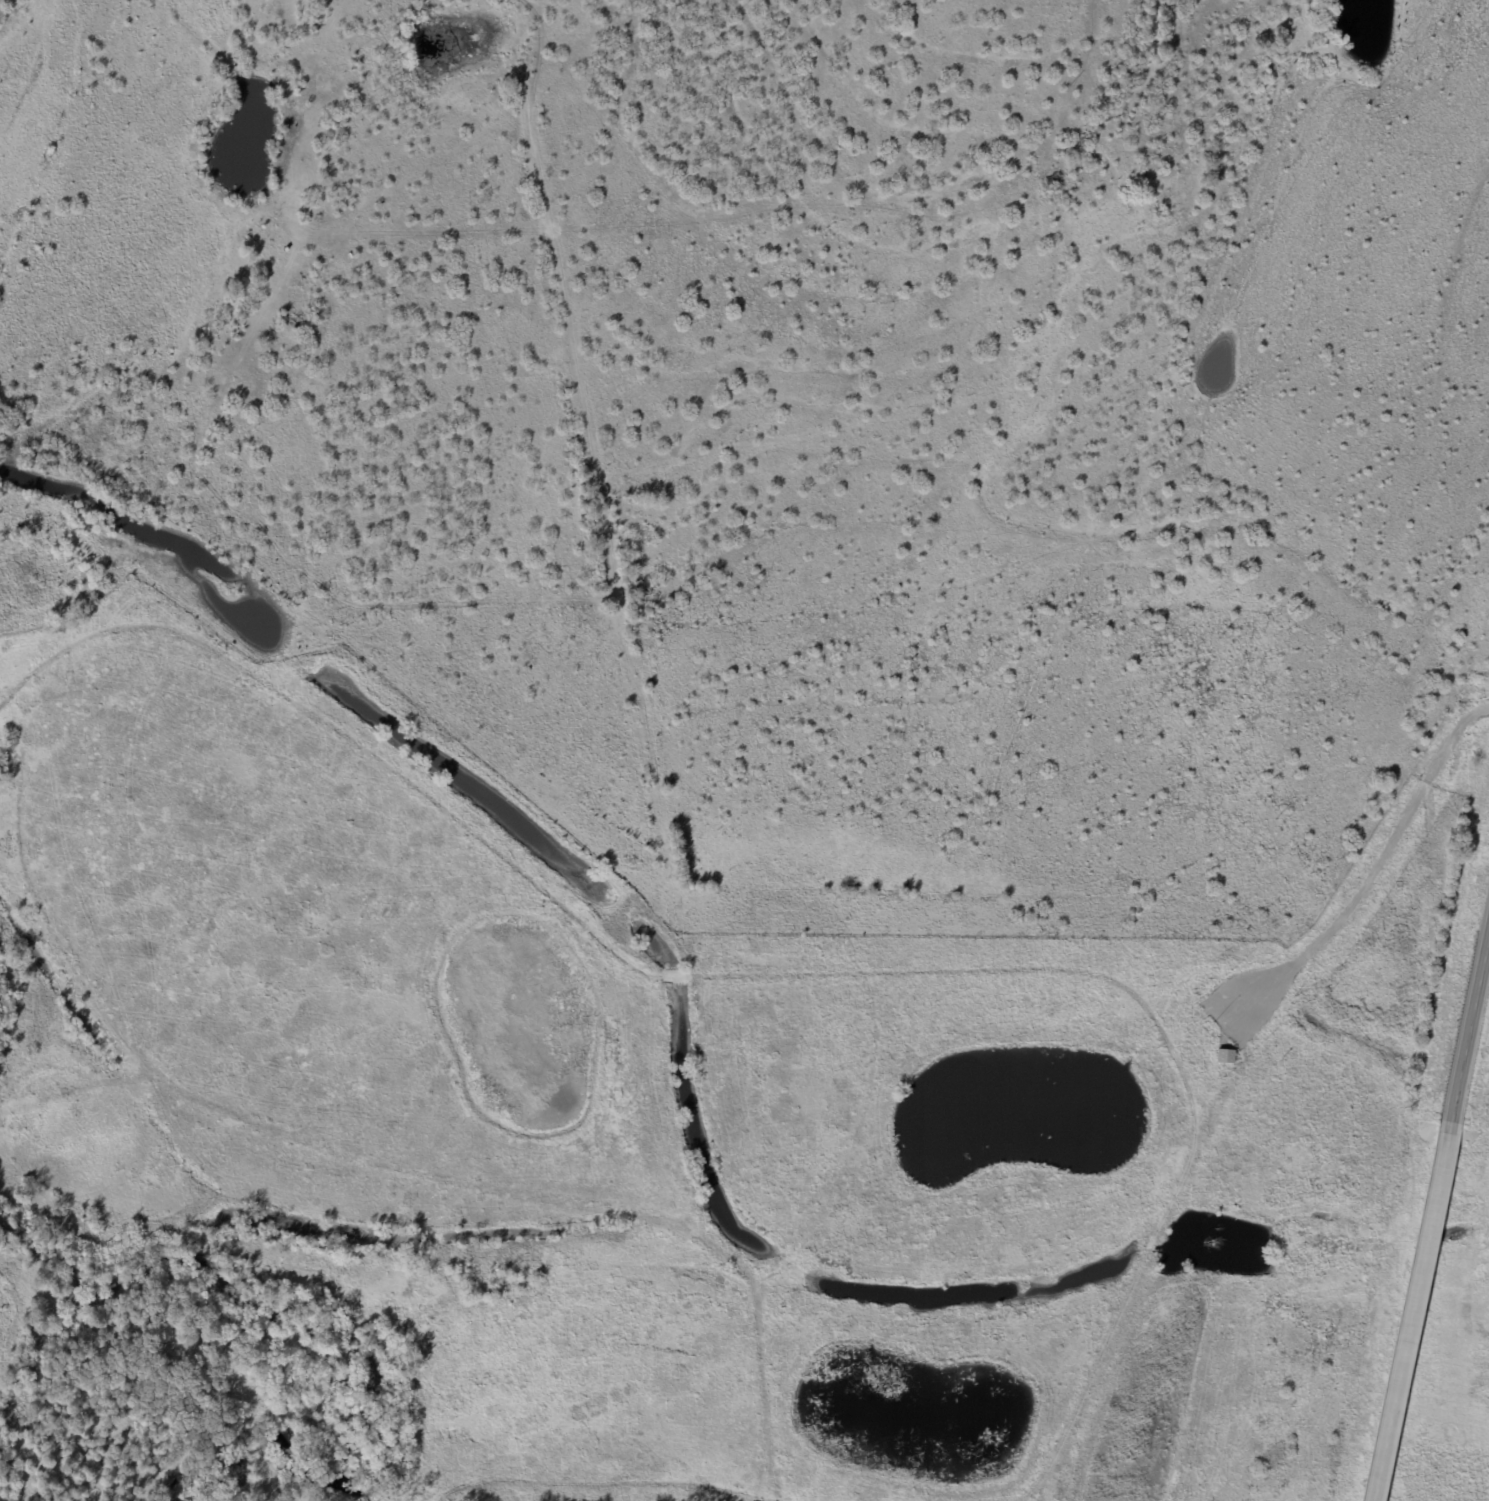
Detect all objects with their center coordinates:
road: (1381, 855)
parking lot: (1244, 1007)
road: (1471, 1011)
road: (1411, 1299)

